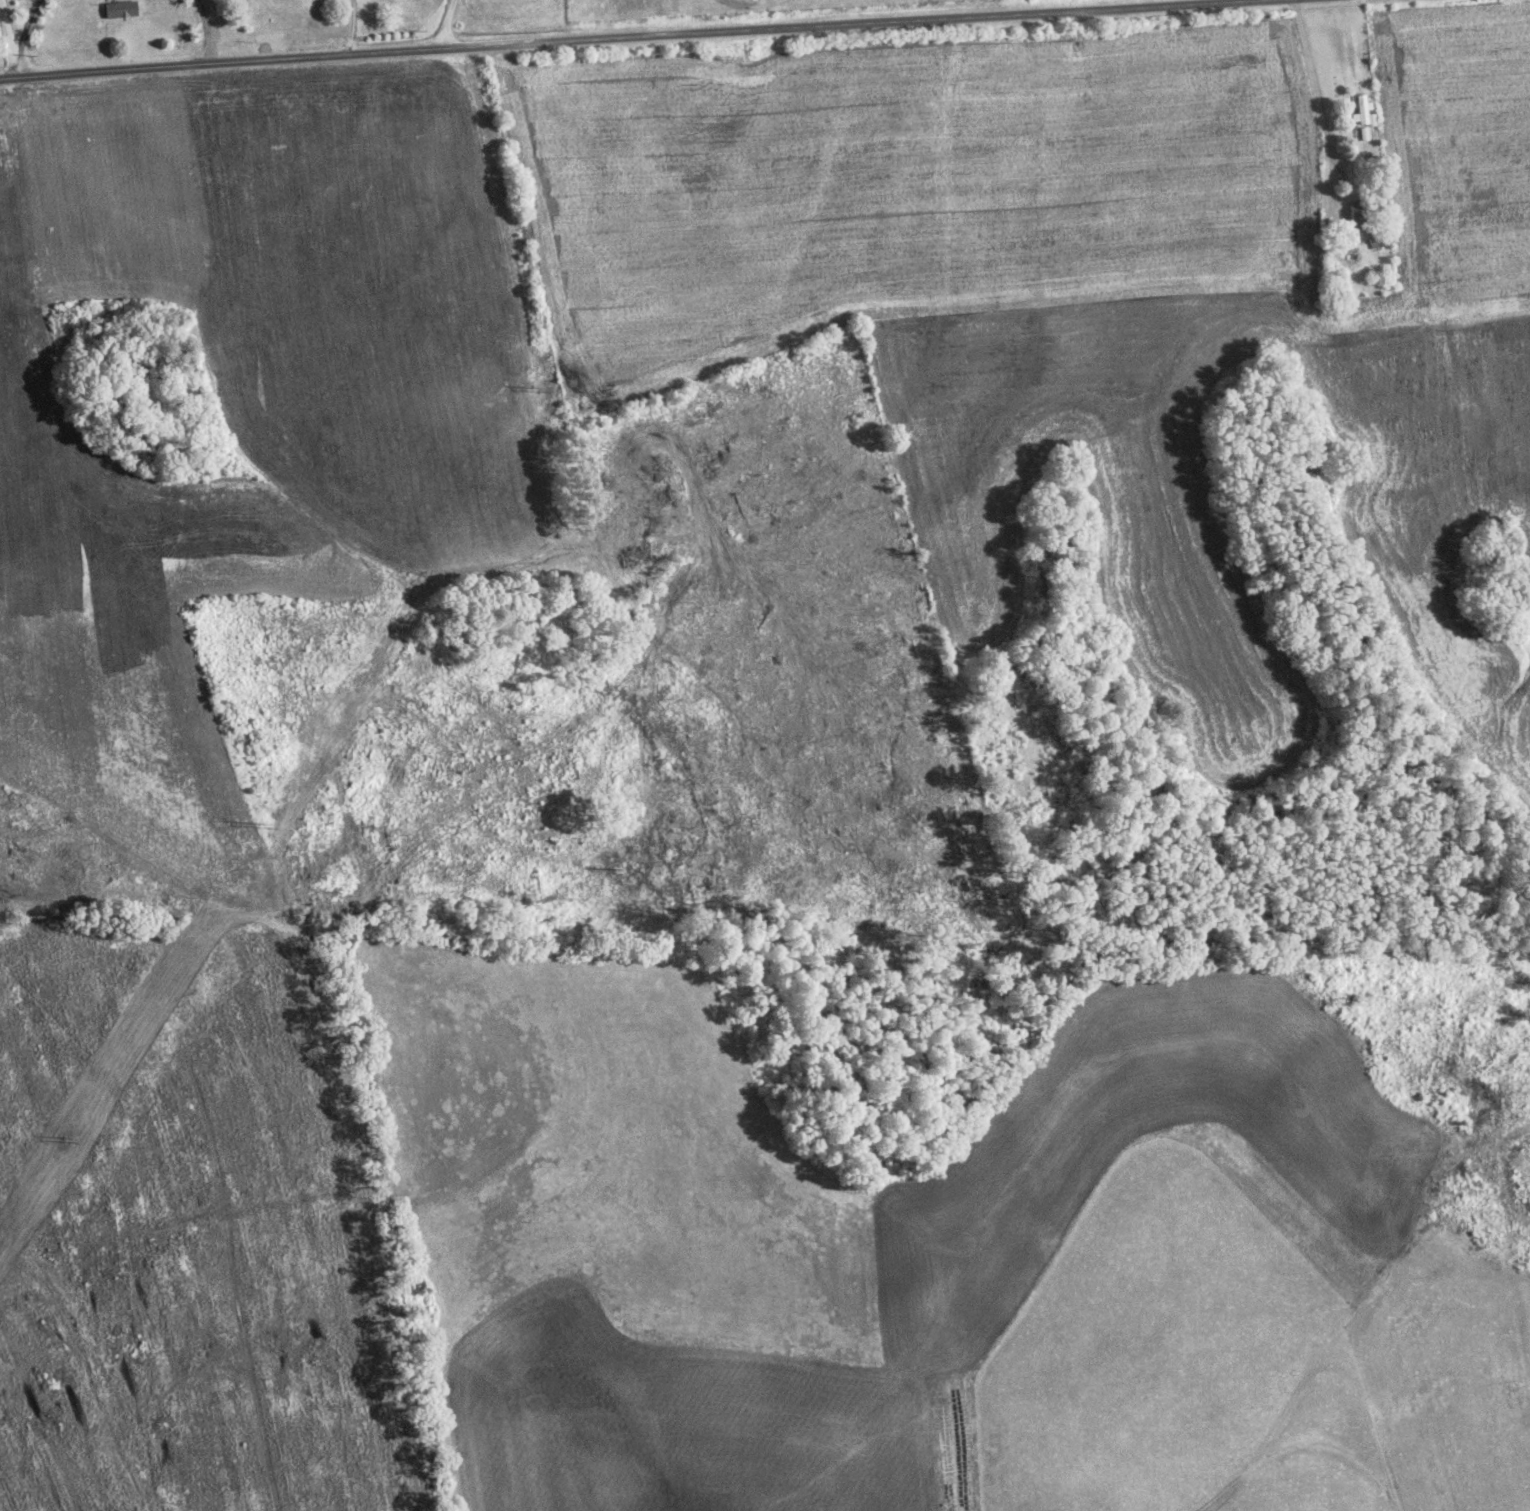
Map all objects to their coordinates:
road: (1046, 11)
building: (117, 12)
road: (448, 25)
road: (402, 53)
building: (1364, 113)
building: (1360, 218)
crop: (246, 411)

